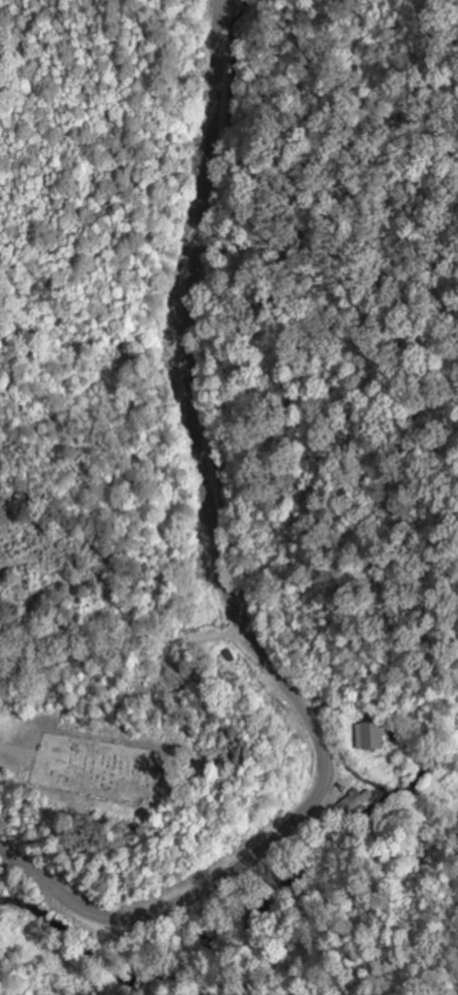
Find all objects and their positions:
road: (229, 596)
road: (239, 633)
road: (385, 722)
park: (95, 767)

